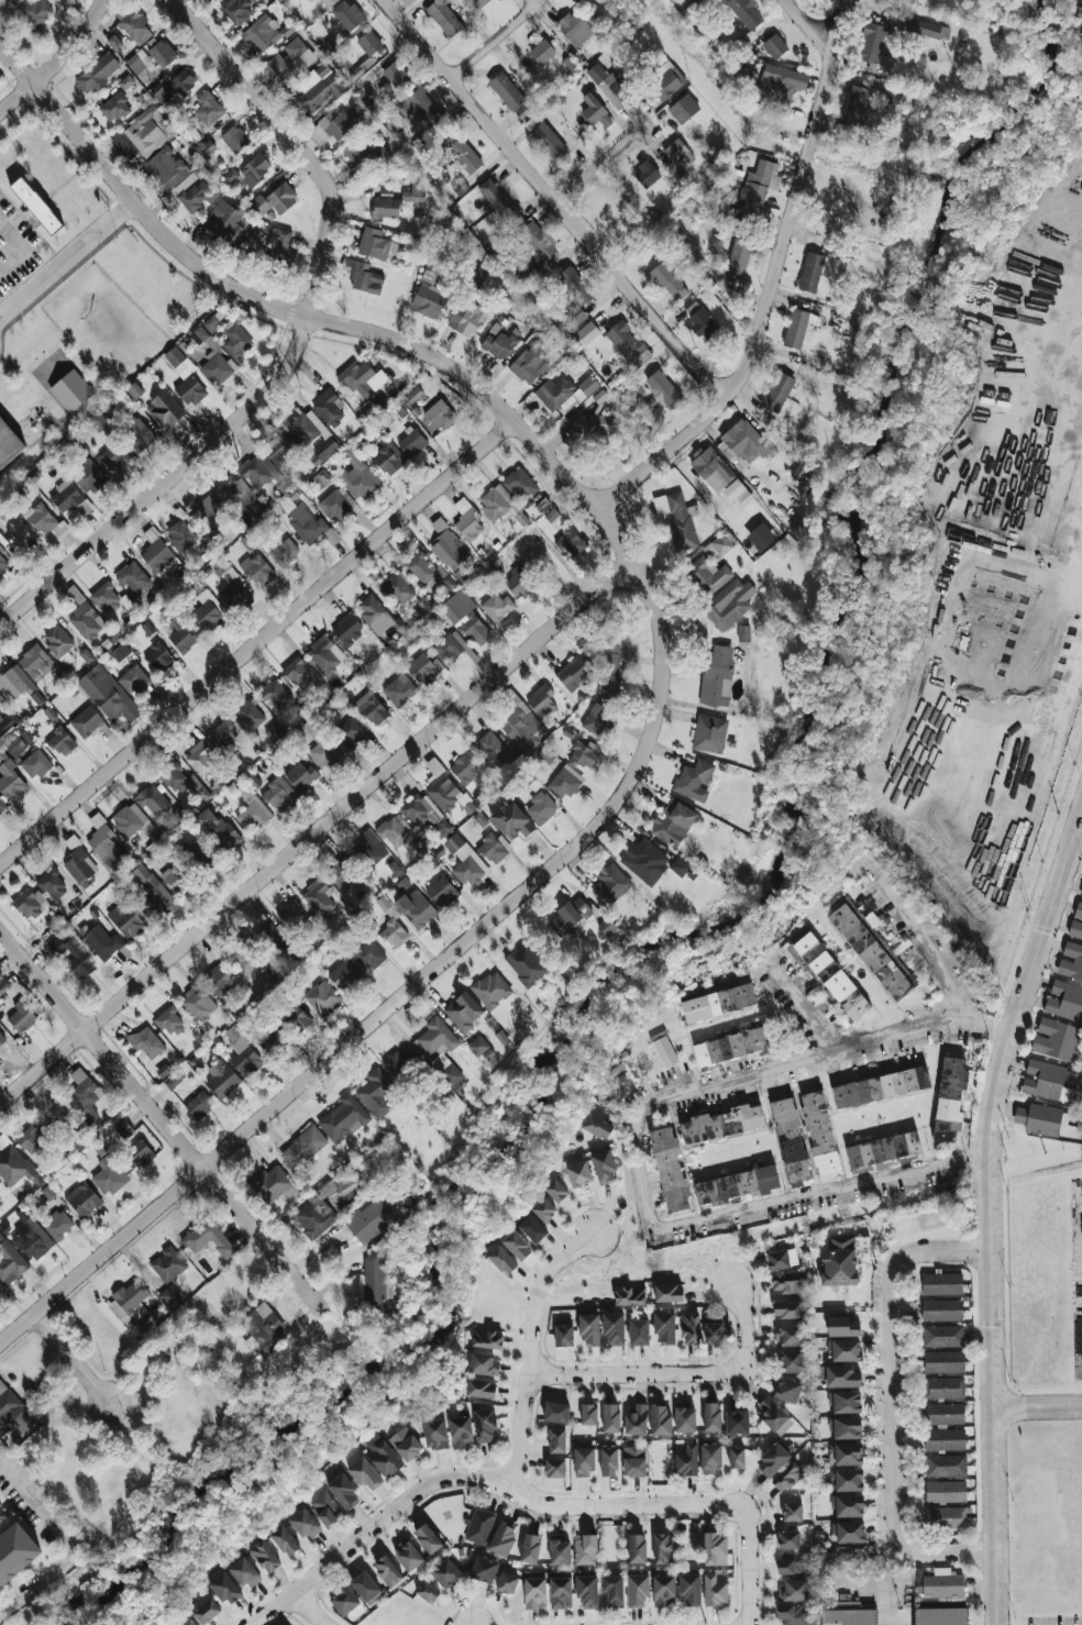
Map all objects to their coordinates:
building: (576, 0)
building: (309, 1)
building: (407, 1)
building: (13, 2)
building: (328, 2)
building: (481, 2)
building: (236, 10)
building: (36, 13)
building: (744, 13)
building: (346, 15)
building: (443, 18)
building: (133, 24)
road: (806, 24)
building: (574, 29)
building: (929, 30)
building: (261, 34)
road: (497, 40)
building: (113, 42)
building: (873, 42)
building: (368, 43)
building: (774, 46)
building: (541, 51)
building: (151, 57)
road: (56, 60)
building: (288, 60)
building: (568, 64)
building: (97, 74)
building: (395, 74)
building: (666, 81)
building: (125, 82)
building: (181, 82)
building: (780, 84)
building: (610, 85)
building: (366, 86)
building: (318, 87)
building: (162, 96)
building: (509, 96)
building: (421, 106)
building: (854, 106)
building: (113, 108)
building: (207, 109)
building: (358, 109)
building: (683, 109)
building: (595, 112)
building: (331, 128)
building: (842, 131)
building: (140, 135)
building: (544, 137)
building: (234, 140)
building: (207, 148)
building: (677, 154)
building: (467, 158)
road: (605, 161)
building: (165, 168)
building: (255, 168)
building: (645, 175)
building: (230, 176)
building: (459, 187)
building: (196, 191)
building: (755, 191)
building: (413, 194)
road: (553, 199)
building: (274, 200)
building: (498, 200)
building: (36, 206)
building: (385, 208)
building: (224, 221)
building: (252, 237)
building: (534, 241)
building: (373, 244)
building: (279, 246)
road: (21, 250)
road: (67, 257)
building: (738, 259)
building: (548, 268)
building: (482, 270)
building: (810, 273)
building: (365, 279)
building: (664, 285)
building: (574, 286)
road: (771, 287)
building: (429, 292)
road: (1068, 295)
building: (214, 319)
building: (467, 319)
building: (699, 319)
road: (363, 329)
building: (795, 329)
building: (584, 335)
building: (235, 341)
building: (498, 343)
building: (627, 344)
road: (296, 345)
building: (174, 357)
building: (529, 364)
building: (217, 369)
building: (363, 379)
building: (663, 389)
building: (190, 390)
building: (70, 391)
building: (134, 391)
building: (776, 391)
building: (564, 393)
building: (411, 397)
building: (121, 401)
building: (328, 408)
building: (164, 409)
building: (399, 410)
road: (1026, 413)
building: (439, 416)
building: (576, 420)
building: (97, 422)
building: (600, 425)
building: (307, 428)
building: (137, 435)
building: (9, 441)
building: (411, 443)
building: (743, 444)
building: (277, 450)
building: (322, 451)
building: (114, 457)
building: (386, 462)
building: (257, 471)
building: (802, 471)
building: (719, 476)
building: (89, 477)
building: (358, 477)
building: (321, 478)
building: (519, 484)
building: (238, 496)
building: (68, 499)
building: (495, 502)
building: (334, 506)
building: (207, 515)
building: (551, 516)
building: (466, 520)
building: (677, 520)
building: (45, 521)
building: (309, 526)
building: (179, 537)
building: (246, 542)
building: (570, 543)
building: (721, 544)
building: (445, 546)
building: (284, 553)
building: (158, 555)
building: (2, 565)
building: (257, 570)
building: (422, 572)
building: (708, 574)
building: (133, 578)
building: (519, 584)
building: (398, 588)
building: (233, 593)
building: (106, 598)
building: (423, 604)
building: (728, 605)
building: (496, 607)
building: (371, 610)
building: (208, 612)
building: (465, 618)
building: (86, 619)
building: (146, 628)
building: (346, 630)
building: (742, 634)
building: (183, 637)
road: (256, 642)
building: (58, 644)
building: (450, 646)
building: (120, 652)
building: (324, 654)
building: (159, 657)
building: (34, 662)
building: (427, 671)
building: (575, 671)
building: (609, 672)
road: (1033, 673)
building: (716, 677)
building: (133, 681)
building: (15, 682)
building: (405, 693)
building: (108, 695)
building: (274, 695)
building: (541, 701)
building: (0, 708)
building: (300, 709)
building: (371, 709)
building: (49, 714)
building: (249, 716)
building: (597, 720)
building: (86, 722)
building: (8, 723)
building: (520, 725)
building: (274, 732)
building: (349, 733)
building: (708, 734)
building: (223, 736)
building: (60, 742)
building: (20, 743)
building: (321, 747)
building: (489, 747)
building: (584, 754)
building: (545, 755)
building: (202, 761)
building: (462, 761)
building: (36, 764)
building: (300, 776)
building: (10, 780)
building: (177, 780)
building: (694, 781)
building: (565, 782)
building: (441, 788)
building: (277, 795)
building: (153, 802)
building: (2, 807)
building: (540, 808)
building: (252, 814)
building: (424, 815)
building: (133, 821)
building: (511, 821)
building: (672, 823)
building: (218, 830)
road: (313, 831)
building: (395, 831)
building: (103, 843)
building: (369, 849)
building: (493, 849)
building: (167, 852)
building: (200, 855)
building: (644, 861)
building: (466, 862)
building: (79, 864)
building: (678, 867)
building: (342, 874)
building: (175, 875)
building: (609, 884)
building: (52, 885)
building: (148, 893)
building: (442, 893)
building: (1081, 895)
building: (318, 897)
building: (29, 904)
building: (416, 909)
building: (291, 916)
building: (568, 917)
building: (124, 919)
building: (1077, 922)
building: (606, 927)
building: (394, 935)
building: (276, 938)
building: (101, 942)
building: (76, 952)
road: (930, 952)
building: (242, 953)
building: (871, 953)
building: (369, 957)
building: (1071, 962)
building: (0, 965)
building: (526, 965)
building: (342, 975)
building: (828, 975)
building: (0, 976)
building: (219, 981)
building: (490, 990)
building: (322, 998)
building: (1064, 1002)
building: (718, 1003)
building: (198, 1004)
road: (806, 1007)
building: (463, 1012)
building: (21, 1017)
building: (295, 1018)
building: (169, 1022)
road: (363, 1029)
building: (198, 1038)
building: (1055, 1039)
building: (268, 1040)
building: (146, 1043)
building: (2, 1044)
building: (477, 1046)
building: (730, 1047)
building: (663, 1049)
building: (242, 1052)
building: (441, 1052)
building: (399, 1062)
building: (163, 1071)
building: (619, 1077)
building: (221, 1079)
building: (1047, 1081)
building: (880, 1087)
building: (84, 1093)
building: (377, 1095)
building: (951, 1097)
building: (199, 1106)
building: (343, 1119)
building: (1042, 1119)
road: (159, 1120)
building: (722, 1124)
building: (596, 1127)
building: (123, 1129)
building: (819, 1134)
building: (790, 1140)
building: (30, 1142)
road: (636, 1147)
building: (302, 1148)
building: (881, 1151)
building: (140, 1154)
building: (604, 1165)
building: (670, 1170)
building: (578, 1174)
building: (109, 1175)
building: (275, 1183)
building: (736, 1186)
building: (555, 1191)
building: (47, 1193)
building: (82, 1200)
building: (323, 1205)
building: (543, 1209)
road: (990, 1214)
building: (369, 1218)
building: (56, 1225)
building: (532, 1229)
building: (207, 1239)
building: (31, 1241)
building: (516, 1246)
building: (782, 1259)
building: (841, 1259)
building: (501, 1260)
building: (10, 1263)
building: (167, 1265)
building: (786, 1284)
building: (941, 1284)
building: (377, 1289)
building: (667, 1293)
building: (629, 1296)
building: (169, 1297)
building: (132, 1308)
building: (786, 1309)
building: (941, 1311)
road: (744, 1325)
building: (664, 1327)
building: (264, 1328)
building: (614, 1328)
building: (588, 1329)
building: (689, 1329)
building: (713, 1329)
building: (638, 1333)
building: (788, 1335)
building: (563, 1336)
building: (942, 1336)
building: (486, 1339)
road: (892, 1342)
road: (533, 1349)
building: (844, 1350)
road: (75, 1359)
building: (790, 1361)
building: (943, 1362)
building: (483, 1364)
road: (636, 1373)
building: (839, 1377)
building: (942, 1388)
building: (481, 1389)
building: (787, 1390)
building: (844, 1403)
road: (1038, 1405)
building: (12, 1412)
building: (555, 1413)
building: (942, 1414)
building: (588, 1415)
building: (711, 1417)
building: (773, 1417)
building: (610, 1418)
building: (634, 1419)
building: (684, 1419)
building: (660, 1421)
building: (737, 1423)
building: (484, 1426)
building: (846, 1428)
building: (461, 1431)
building: (435, 1435)
building: (945, 1439)
building: (556, 1441)
building: (405, 1444)
building: (382, 1455)
building: (844, 1455)
building: (685, 1458)
building: (736, 1458)
building: (709, 1459)
building: (633, 1461)
building: (772, 1461)
building: (583, 1462)
building: (608, 1462)
building: (945, 1466)
building: (554, 1469)
building: (364, 1473)
building: (786, 1478)
building: (846, 1480)
building: (342, 1491)
building: (945, 1492)
building: (0, 1505)
road: (626, 1505)
building: (847, 1506)
building: (324, 1507)
building: (792, 1512)
building: (945, 1517)
building: (303, 1524)
building: (479, 1526)
road: (377, 1527)
building: (848, 1532)
building: (427, 1539)
building: (501, 1539)
building: (285, 1540)
building: (787, 1540)
building: (530, 1548)
building: (637, 1549)
building: (662, 1549)
building: (715, 1549)
road: (938, 1549)
road: (68, 1550)
building: (585, 1550)
building: (15, 1552)
building: (559, 1552)
building: (407, 1556)
building: (265, 1557)
building: (792, 1563)
road: (748, 1567)
building: (483, 1570)
building: (387, 1571)
building: (244, 1573)
building: (445, 1573)
building: (506, 1583)
building: (941, 1584)
building: (366, 1588)
building: (225, 1589)
building: (715, 1589)
building: (637, 1590)
building: (689, 1590)
building: (793, 1590)
building: (586, 1591)
building: (612, 1591)
building: (663, 1591)
building: (427, 1592)
building: (534, 1593)
building: (560, 1593)
building: (343, 1601)
road: (308, 1610)
building: (206, 1612)
building: (793, 1615)
building: (849, 1615)
building: (940, 1616)

